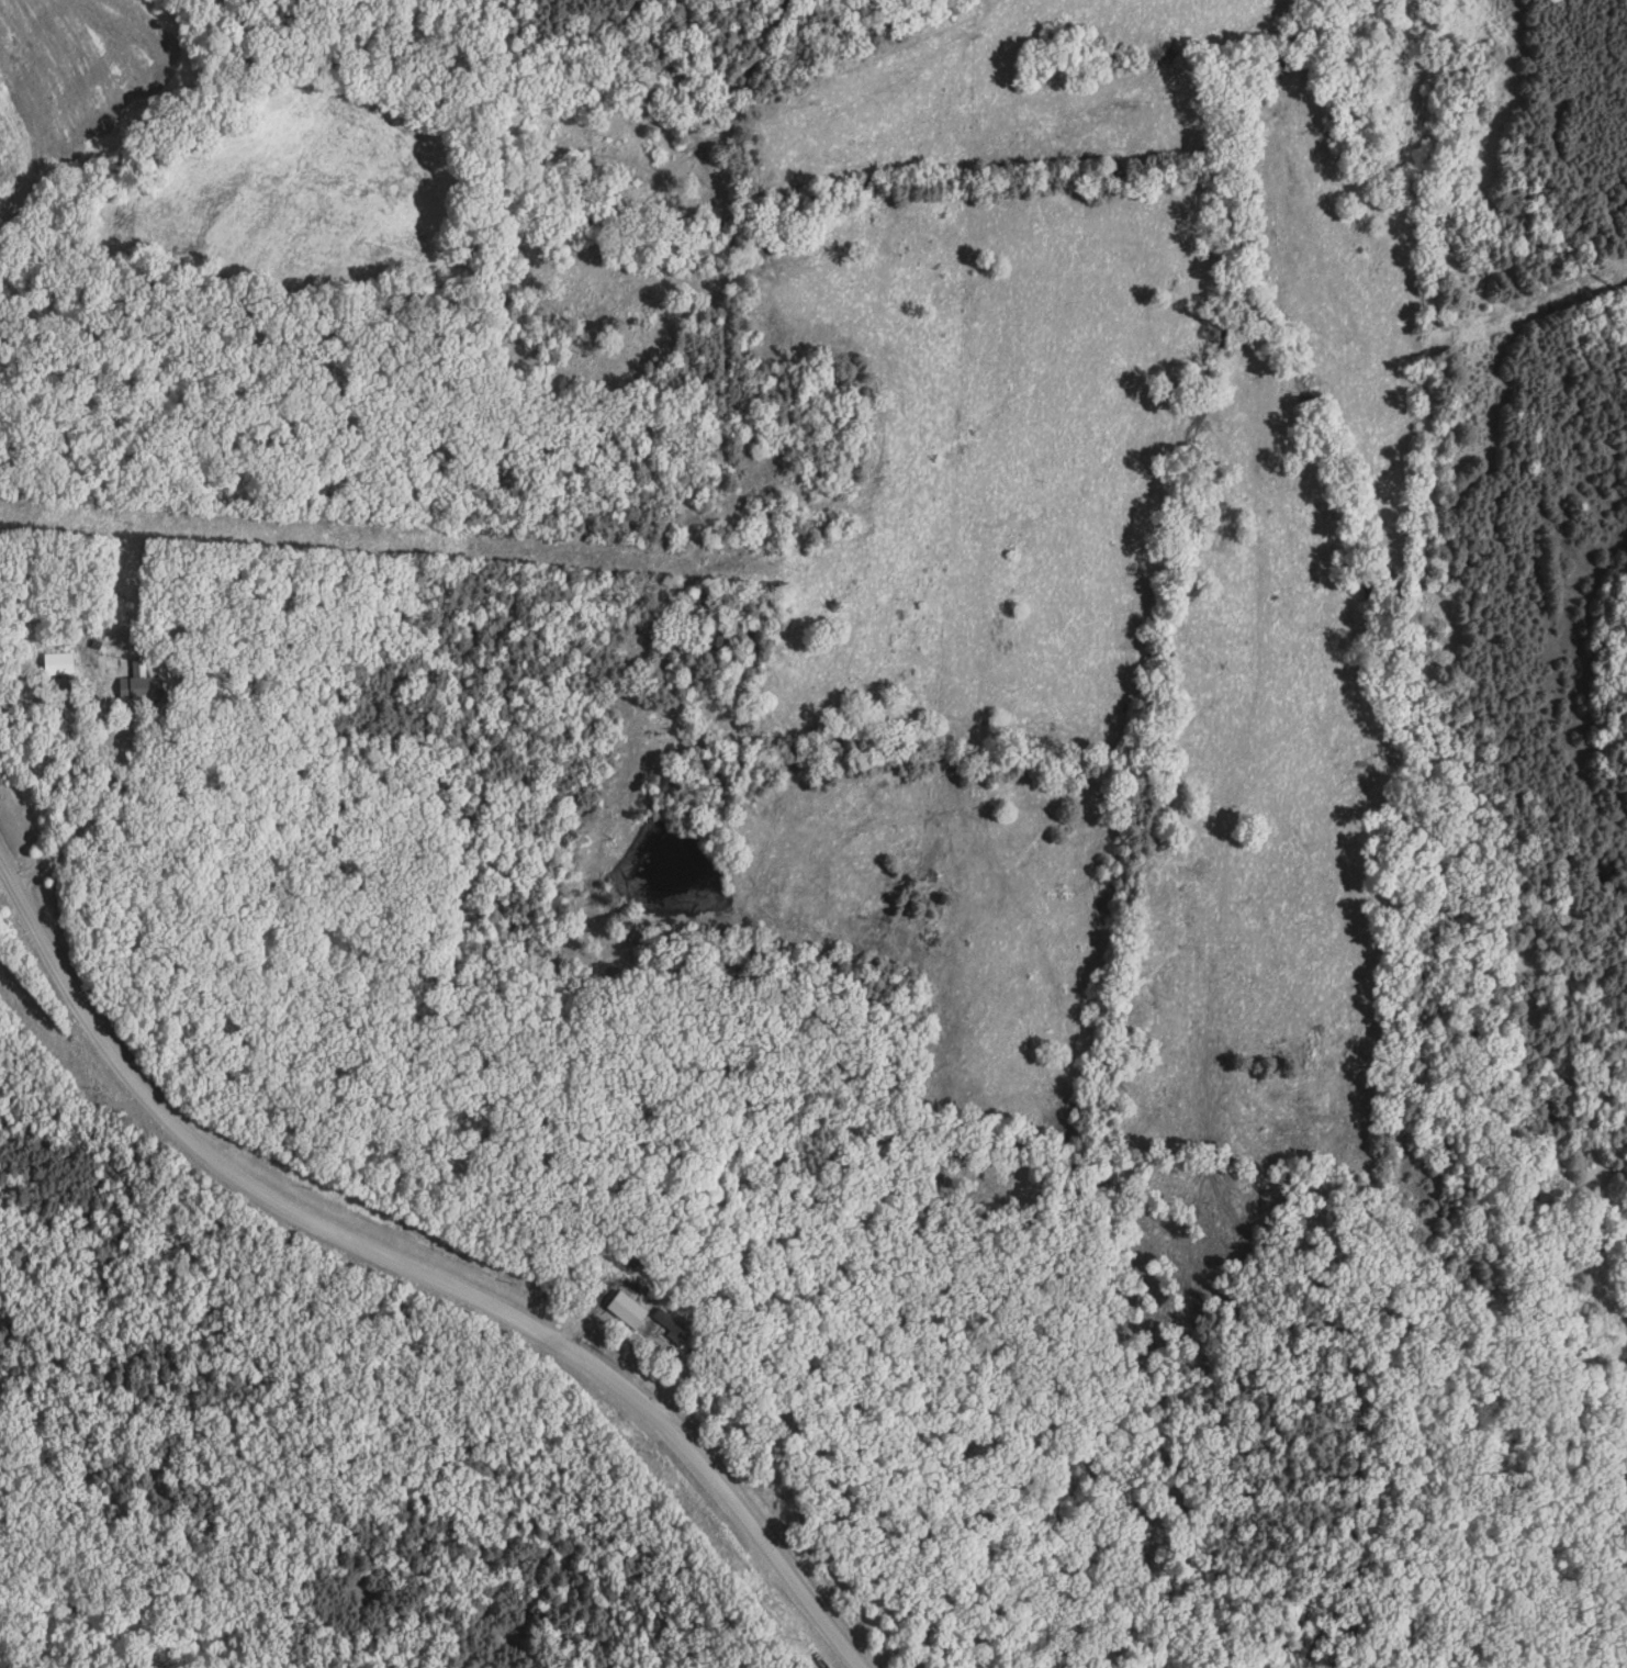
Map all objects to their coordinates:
building: (63, 664)
road: (88, 803)
road: (419, 1270)

